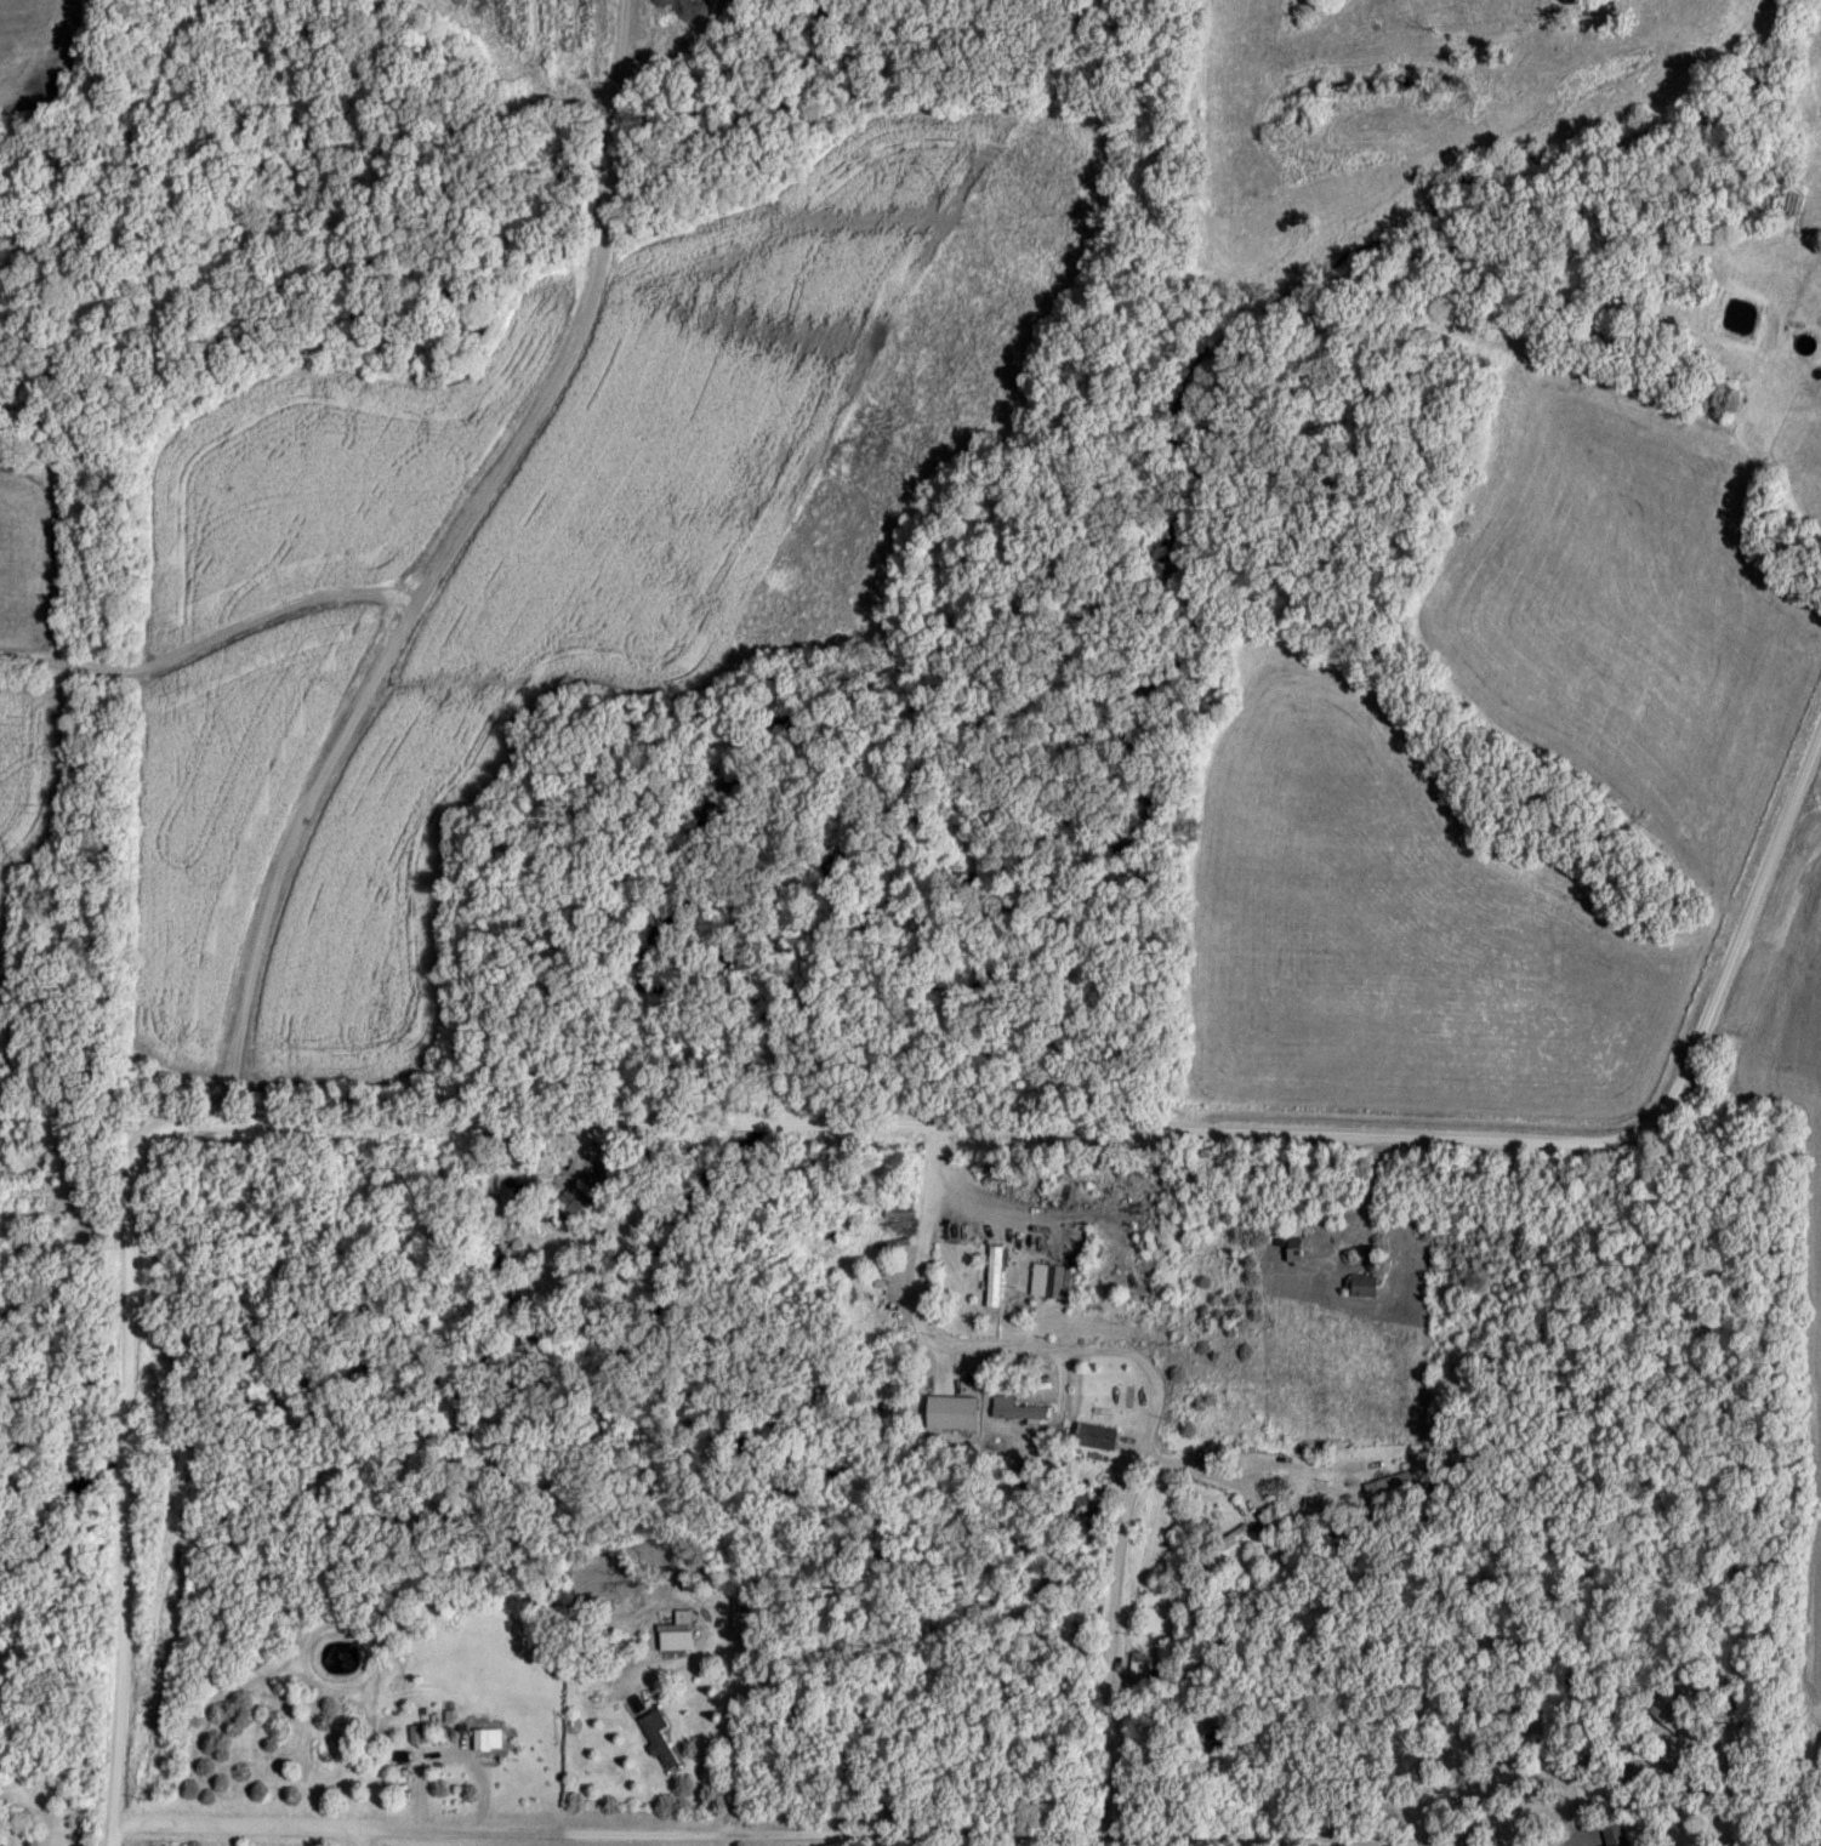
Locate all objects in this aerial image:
road: (761, 1130)
road: (1360, 1198)
building: (575, 1202)
road: (1015, 1212)
building: (994, 1281)
building: (1051, 1286)
building: (1366, 1289)
road: (1155, 1380)
building: (1017, 1413)
building: (1097, 1440)
road: (1257, 1482)
building: (1387, 1486)
building: (1097, 1511)
building: (672, 1641)
building: (1160, 1670)
road: (734, 1698)
building: (1675, 1710)
building: (456, 1740)
building: (1213, 1742)
building: (482, 1744)
building: (659, 1745)
road: (733, 1835)
road: (357, 1839)
road: (1570, 1841)

